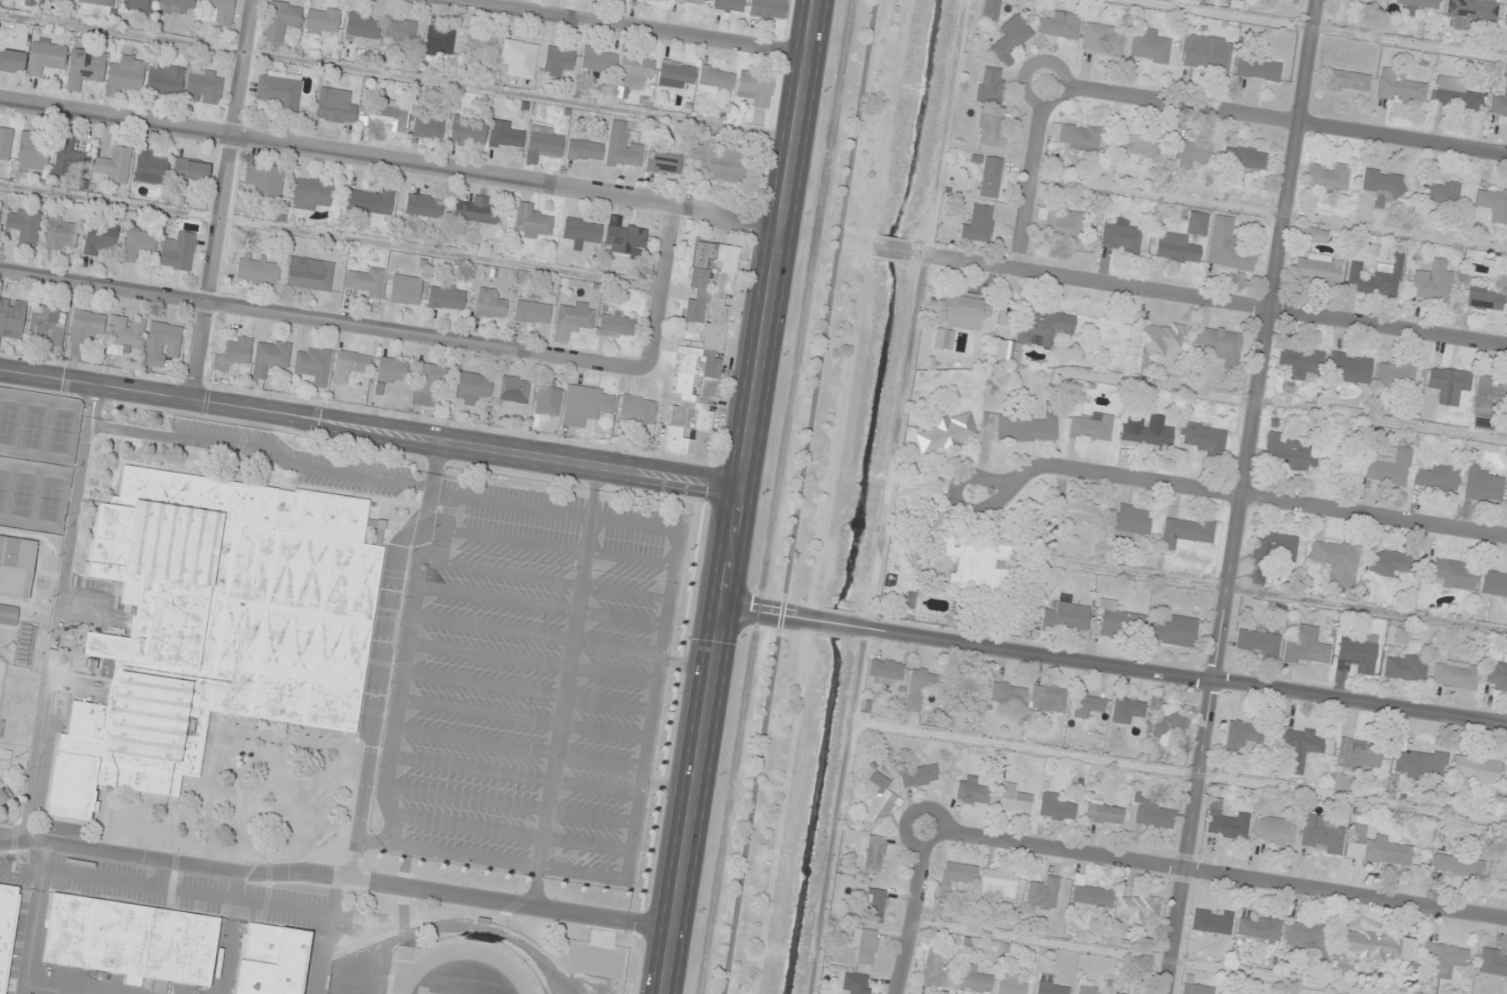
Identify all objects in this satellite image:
building: (72, 0)
building: (667, 0)
building: (691, 1)
building: (1236, 1)
building: (29, 2)
building: (99, 2)
building: (137, 5)
building: (728, 5)
building: (1418, 5)
building: (176, 6)
building: (768, 9)
building: (990, 10)
building: (218, 11)
building: (1473, 11)
building: (1341, 13)
building: (1505, 18)
building: (322, 19)
building: (281, 20)
building: (1060, 25)
building: (362, 26)
road: (627, 28)
building: (400, 30)
building: (1012, 38)
building: (441, 39)
building: (1103, 39)
building: (480, 43)
building: (1150, 47)
building: (1205, 53)
building: (46, 56)
building: (519, 58)
building: (599, 59)
building: (12, 60)
building: (557, 60)
building: (85, 68)
building: (1258, 69)
building: (635, 71)
building: (677, 71)
building: (125, 75)
road: (398, 75)
building: (164, 80)
building: (714, 80)
building: (1347, 82)
building: (203, 86)
building: (990, 86)
building: (1399, 86)
building: (755, 88)
building: (279, 91)
building: (1455, 94)
building: (1499, 103)
building: (335, 106)
building: (384, 115)
road: (1276, 119)
building: (428, 127)
building: (993, 128)
building: (468, 130)
building: (505, 135)
building: (1074, 135)
building: (545, 141)
building: (5, 142)
building: (1137, 145)
building: (622, 147)
building: (584, 150)
building: (31, 151)
building: (1192, 154)
building: (70, 158)
road: (391, 160)
building: (719, 161)
building: (1242, 161)
building: (663, 162)
building: (115, 165)
building: (151, 167)
building: (191, 170)
road: (1033, 175)
building: (1328, 176)
building: (991, 177)
building: (264, 179)
building: (1384, 186)
building: (1441, 192)
building: (311, 193)
road: (223, 200)
building: (370, 202)
building: (1493, 203)
building: (0, 206)
building: (422, 207)
building: (475, 210)
building: (531, 222)
building: (979, 224)
building: (1062, 225)
building: (24, 226)
building: (581, 231)
building: (59, 233)
road: (329, 235)
building: (1314, 235)
building: (1120, 236)
building: (624, 238)
building: (99, 240)
building: (138, 242)
building: (1227, 246)
building: (1176, 249)
building: (178, 251)
building: (1317, 270)
building: (257, 271)
building: (310, 273)
building: (1378, 277)
building: (365, 282)
building: (1433, 283)
road: (660, 286)
building: (405, 289)
building: (446, 296)
building: (1481, 298)
road: (1217, 303)
building: (489, 304)
building: (962, 310)
building: (532, 312)
building: (575, 315)
building: (12, 318)
road: (323, 321)
building: (47, 325)
building: (617, 325)
building: (84, 329)
building: (1034, 332)
building: (124, 335)
building: (943, 338)
building: (1155, 342)
building: (162, 344)
building: (1219, 345)
building: (701, 350)
building: (234, 353)
building: (270, 357)
building: (1300, 360)
building: (350, 364)
building: (314, 365)
building: (1350, 367)
building: (390, 372)
building: (1396, 373)
building: (428, 382)
building: (1449, 384)
building: (471, 387)
building: (514, 389)
building: (1490, 393)
building: (548, 398)
building: (586, 404)
building: (637, 411)
park: (7, 421)
park: (32, 426)
building: (1024, 426)
building: (1092, 427)
road: (371, 429)
park: (59, 430)
building: (947, 432)
building: (1148, 434)
building: (1202, 437)
road: (243, 444)
building: (1288, 454)
road: (921, 464)
building: (1388, 468)
building: (1435, 478)
building: (1482, 484)
park: (3, 486)
park: (22, 494)
railway: (774, 496)
road: (740, 497)
road: (799, 497)
road: (1243, 497)
park: (49, 498)
road: (953, 498)
road: (1257, 498)
building: (1077, 510)
road: (445, 511)
building: (1129, 522)
building: (1186, 532)
road: (587, 538)
building: (1271, 554)
road: (628, 558)
building: (1337, 561)
building: (1390, 562)
building: (15, 565)
building: (976, 565)
building: (1455, 573)
road: (540, 578)
building: (1494, 583)
road: (495, 599)
road: (57, 611)
road: (769, 613)
building: (7, 614)
building: (1066, 614)
road: (619, 618)
building: (1119, 621)
road: (838, 623)
building: (214, 625)
building: (1174, 630)
road: (535, 633)
building: (1402, 636)
road: (571, 639)
building: (1259, 643)
building: (25, 644)
building: (1306, 647)
road: (380, 654)
road: (487, 655)
building: (1356, 656)
building: (1405, 666)
building: (884, 671)
park: (1, 672)
road: (611, 675)
building: (1456, 675)
building: (1497, 676)
road: (1183, 678)
parking lot: (526, 681)
road: (565, 682)
road: (482, 683)
building: (921, 686)
building: (968, 687)
building: (1008, 692)
building: (1048, 698)
road: (606, 702)
road: (650, 703)
building: (1087, 706)
building: (1127, 709)
road: (561, 710)
road: (478, 712)
building: (954, 720)
building: (1170, 723)
road: (602, 731)
building: (1241, 737)
road: (557, 738)
road: (474, 740)
building: (1299, 746)
road: (389, 753)
building: (1359, 755)
road: (598, 758)
building: (4, 759)
building: (1421, 763)
building: (1476, 770)
road: (513, 774)
building: (918, 774)
building: (1342, 782)
building: (971, 790)
building: (879, 799)
building: (1014, 801)
road: (509, 804)
building: (1056, 807)
building: (1104, 813)
building: (1152, 813)
building: (1225, 822)
road: (543, 830)
building: (1274, 830)
road: (509, 832)
building: (1321, 835)
building: (1376, 847)
building: (875, 853)
building: (1458, 865)
road: (337, 876)
road: (1214, 876)
building: (954, 878)
building: (998, 880)
building: (1043, 893)
building: (1091, 898)
building: (874, 904)
building: (1138, 908)
road: (918, 912)
building: (1212, 921)
building: (1259, 927)
building: (7, 928)
road: (328, 935)
building: (1308, 937)
building: (131, 939)
building: (864, 944)
building: (1378, 946)
building: (1442, 959)
building: (271, 961)
building: (1493, 963)
track: (413, 967)
building: (936, 969)
building: (1339, 973)
building: (975, 979)
building: (854, 982)
building: (1011, 984)
building: (1049, 985)
building: (1086, 986)
building: (1197, 989)
building: (1118, 993)

